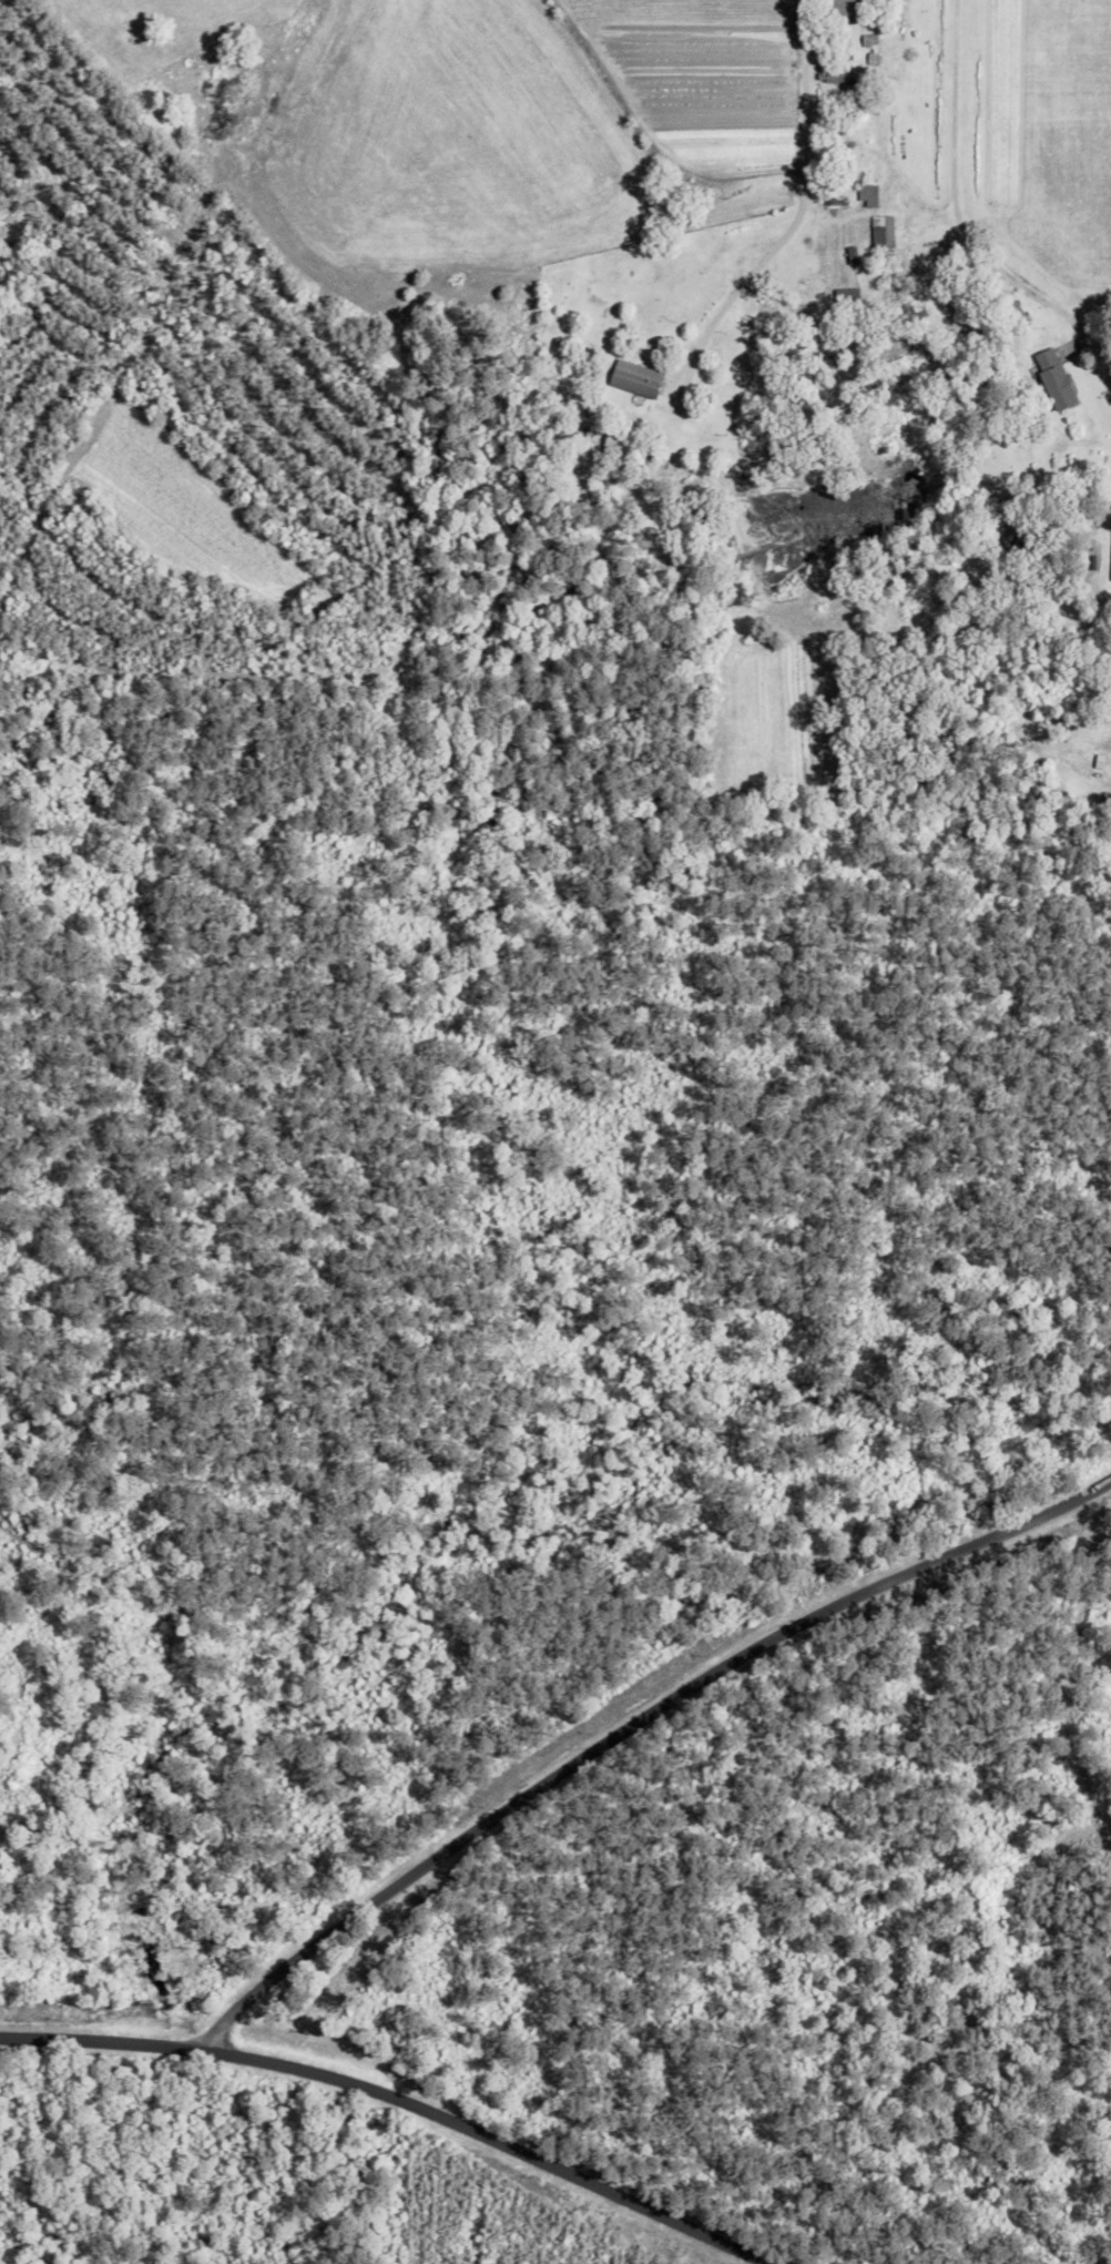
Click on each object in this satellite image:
building: (853, 12)
building: (840, 74)
road: (727, 144)
building: (889, 233)
road: (941, 254)
building: (853, 300)
building: (642, 380)
building: (1060, 382)
road: (631, 1694)
road: (396, 2091)

